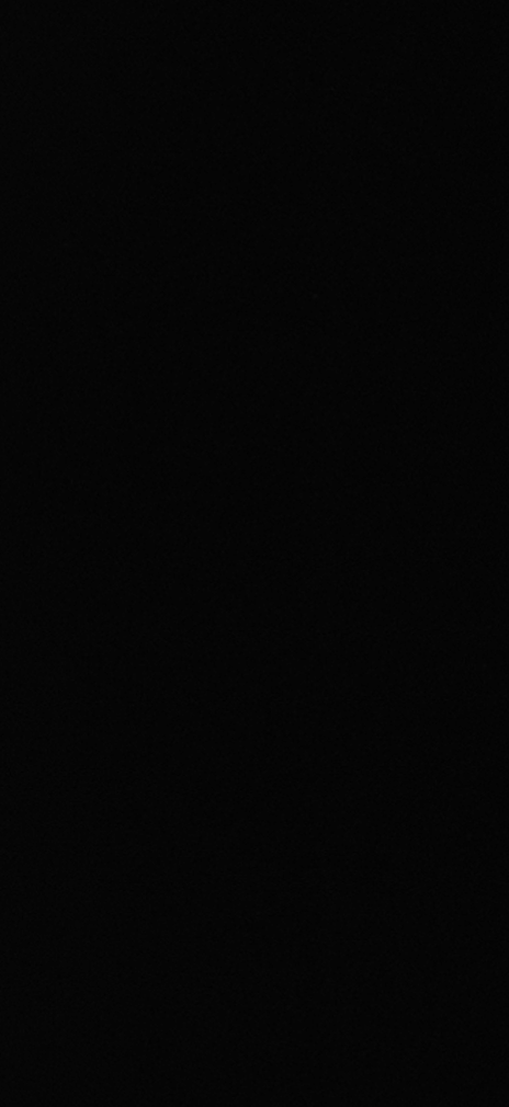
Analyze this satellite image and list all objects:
river: (498, 168)

